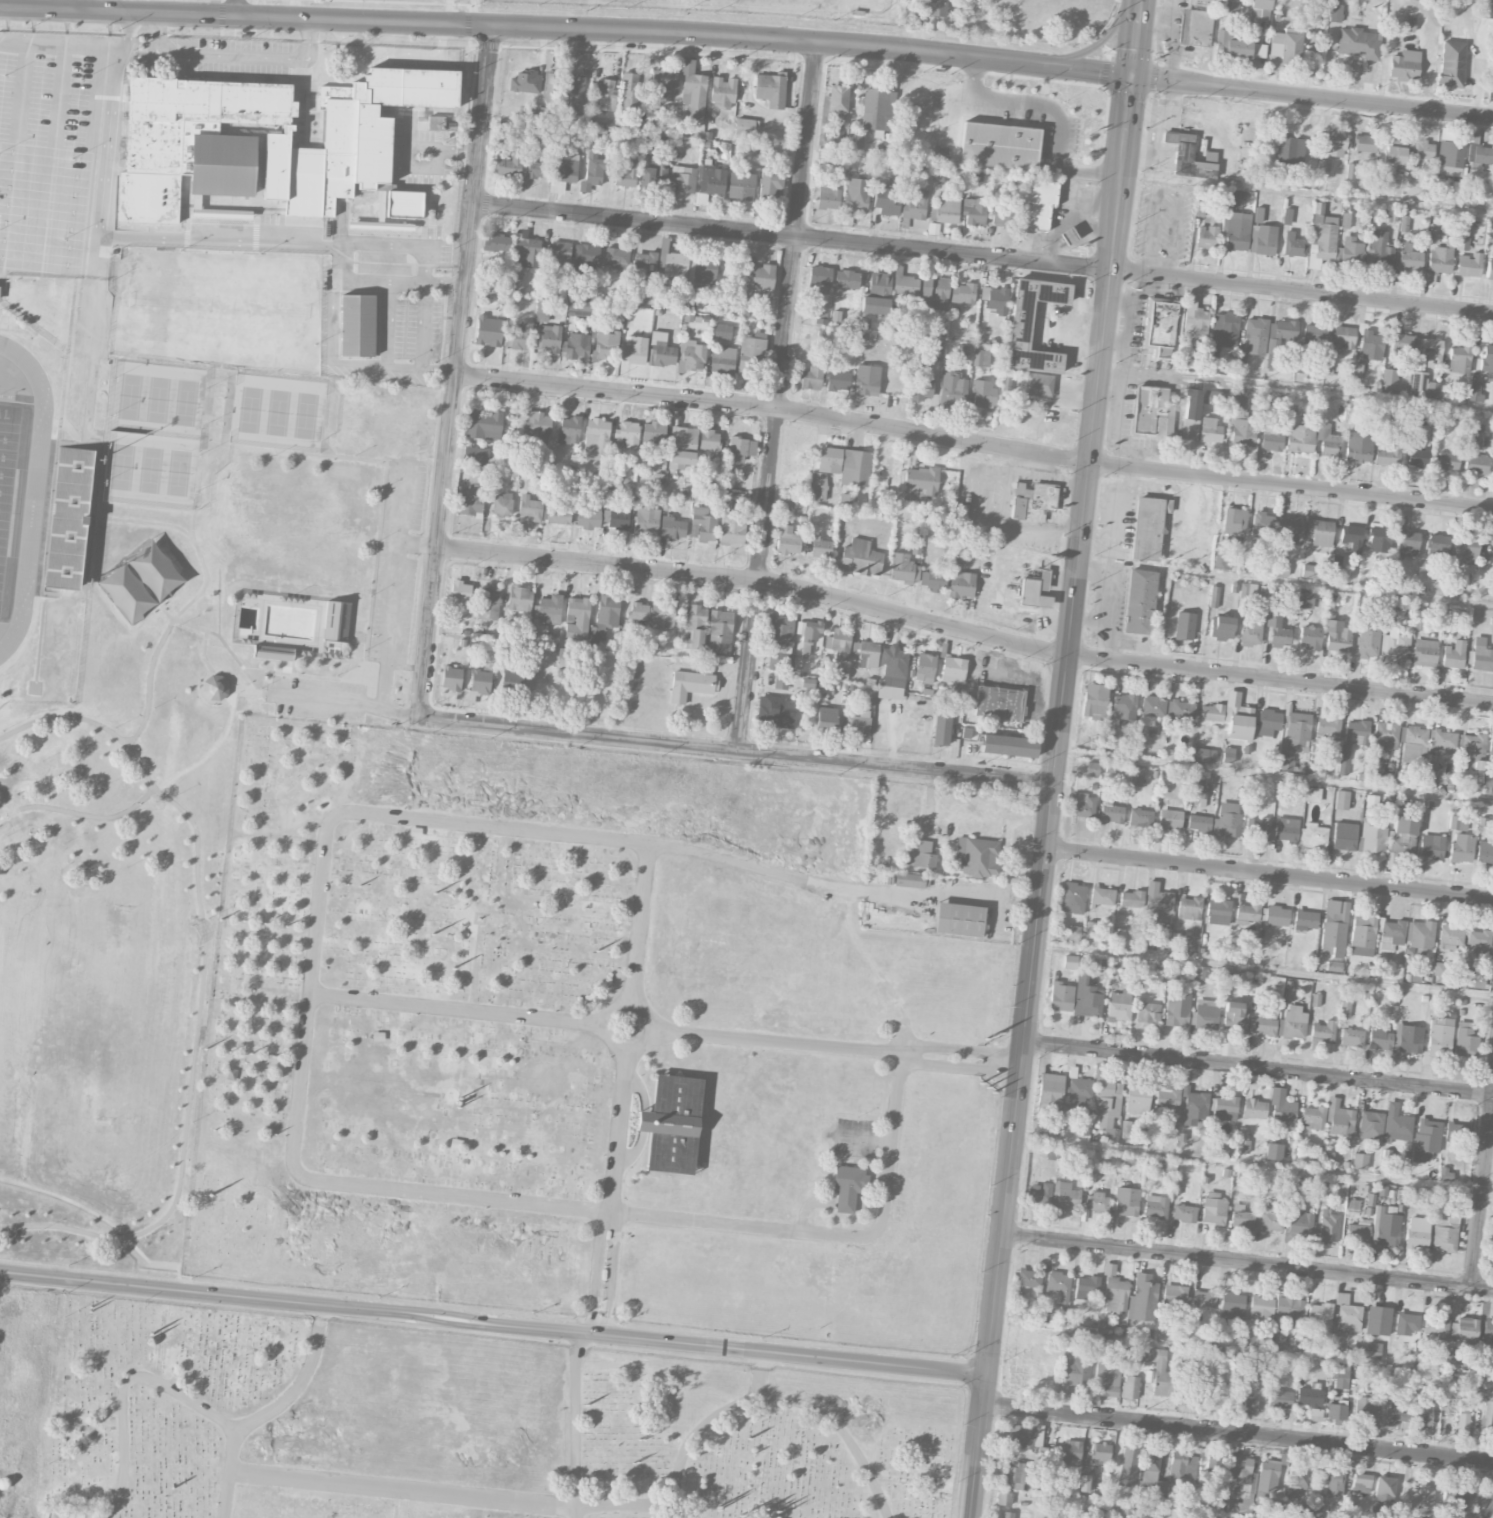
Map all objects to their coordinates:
building: (1201, 2)
road: (71, 5)
building: (1231, 6)
road: (236, 8)
building: (934, 8)
building: (1260, 10)
building: (1335, 12)
building: (1408, 24)
road: (567, 29)
building: (1191, 35)
building: (1357, 42)
road: (58, 45)
building: (1237, 45)
building: (1286, 45)
road: (232, 55)
building: (1452, 63)
building: (1404, 65)
traffic signals: (1134, 77)
building: (524, 82)
building: (663, 84)
building: (550, 87)
building: (692, 89)
building: (771, 89)
building: (575, 91)
building: (629, 91)
building: (722, 92)
building: (603, 94)
road: (1313, 97)
road: (1056, 106)
building: (877, 109)
building: (834, 115)
building: (746, 127)
building: (273, 134)
building: (1365, 143)
building: (1335, 144)
building: (998, 146)
building: (1421, 149)
building: (1289, 150)
building: (1479, 155)
building: (1189, 157)
building: (1390, 157)
building: (1450, 158)
building: (221, 163)
building: (508, 163)
building: (1323, 166)
building: (566, 167)
building: (537, 170)
building: (592, 172)
building: (653, 173)
building: (626, 175)
building: (683, 178)
building: (712, 179)
building: (770, 183)
road: (101, 184)
building: (741, 185)
building: (856, 195)
building: (828, 196)
building: (887, 200)
building: (1231, 201)
building: (1036, 203)
building: (404, 204)
building: (914, 205)
building: (945, 210)
building: (974, 211)
building: (1001, 215)
building: (933, 228)
building: (1235, 230)
building: (1435, 231)
building: (1462, 234)
building: (1321, 235)
building: (1206, 236)
building: (1262, 239)
road: (263, 240)
building: (496, 243)
building: (1293, 245)
building: (1351, 250)
building: (1378, 250)
building: (527, 251)
building: (559, 251)
road: (983, 254)
building: (586, 257)
building: (616, 257)
building: (1410, 257)
building: (1440, 258)
building: (645, 262)
building: (673, 264)
building: (1469, 265)
building: (704, 270)
building: (1489, 270)
building: (819, 275)
building: (1428, 278)
building: (846, 279)
road: (362, 281)
building: (760, 281)
road: (408, 282)
road: (446, 284)
building: (904, 286)
building: (934, 292)
building: (962, 293)
building: (877, 294)
building: (994, 298)
road: (334, 301)
road: (426, 307)
building: (580, 308)
building: (542, 309)
road: (386, 323)
building: (1194, 323)
building: (357, 324)
building: (1020, 327)
building: (1160, 327)
building: (1285, 330)
building: (488, 331)
building: (721, 331)
building: (1222, 333)
building: (520, 335)
building: (1255, 335)
building: (1313, 335)
building: (1343, 337)
building: (550, 338)
building: (606, 344)
building: (1401, 344)
building: (577, 345)
building: (1371, 345)
building: (635, 350)
building: (661, 350)
building: (934, 350)
building: (750, 351)
building: (1431, 351)
building: (694, 357)
building: (980, 357)
building: (1460, 358)
building: (1487, 359)
building: (723, 360)
road: (376, 364)
road: (455, 372)
building: (811, 376)
building: (1388, 378)
building: (867, 379)
building: (838, 381)
building: (1418, 381)
building: (921, 383)
building: (1038, 384)
building: (953, 387)
building: (1475, 391)
building: (983, 393)
park: (130, 395)
road: (778, 396)
park: (158, 398)
building: (1217, 398)
park: (186, 401)
building: (1238, 402)
park: (250, 408)
park: (278, 411)
building: (1153, 411)
park: (306, 414)
building: (1191, 414)
building: (484, 424)
building: (537, 426)
building: (569, 430)
building: (1209, 430)
building: (1243, 432)
building: (1298, 432)
building: (653, 434)
building: (626, 435)
building: (596, 439)
building: (1272, 440)
building: (1328, 441)
building: (710, 442)
road: (973, 443)
building: (1358, 446)
building: (682, 447)
road: (264, 448)
building: (741, 448)
building: (1388, 452)
building: (475, 454)
building: (1417, 456)
building: (829, 460)
building: (1447, 461)
building: (1475, 464)
park: (122, 466)
building: (855, 467)
park: (151, 468)
park: (178, 472)
stadium: (48, 475)
building: (920, 482)
building: (818, 486)
park: (12, 492)
building: (471, 499)
building: (847, 500)
road: (1101, 500)
building: (1033, 501)
building: (502, 504)
building: (530, 507)
track: (33, 510)
building: (557, 511)
road: (1113, 514)
building: (587, 515)
building: (68, 517)
building: (618, 518)
building: (646, 519)
building: (1234, 521)
building: (704, 523)
building: (1261, 525)
building: (671, 527)
building: (1148, 527)
building: (731, 528)
building: (1289, 530)
building: (1319, 532)
road: (192, 537)
building: (1351, 537)
building: (788, 540)
building: (1379, 540)
building: (1407, 543)
road: (418, 545)
building: (1437, 545)
building: (821, 547)
building: (1464, 548)
building: (859, 558)
park: (154, 568)
building: (903, 568)
building: (1309, 571)
building: (933, 579)
road: (395, 584)
building: (961, 584)
building: (1035, 590)
building: (1247, 590)
park: (126, 592)
building: (460, 593)
building: (1214, 596)
building: (519, 598)
building: (1305, 599)
building: (1139, 601)
building: (489, 603)
building: (638, 611)
building: (546, 612)
building: (662, 615)
building: (577, 617)
building: (604, 617)
building: (337, 620)
building: (695, 625)
building: (1184, 626)
building: (1221, 627)
building: (1277, 628)
building: (780, 630)
building: (719, 631)
road: (963, 631)
building: (1250, 631)
building: (809, 634)
building: (1336, 635)
building: (1309, 637)
building: (1368, 641)
road: (225, 643)
building: (838, 643)
building: (1394, 645)
building: (273, 651)
building: (1424, 652)
building: (866, 654)
building: (1453, 654)
building: (1481, 655)
building: (778, 660)
building: (893, 665)
building: (924, 668)
building: (953, 669)
building: (451, 678)
building: (509, 679)
building: (781, 680)
building: (480, 681)
road: (151, 682)
building: (690, 685)
building: (214, 687)
road: (252, 691)
road: (344, 699)
building: (1094, 701)
building: (998, 702)
building: (1123, 706)
building: (1152, 709)
building: (1180, 709)
building: (774, 712)
building: (1211, 712)
building: (826, 717)
road: (230, 718)
building: (1237, 718)
building: (1268, 722)
building: (856, 724)
building: (1328, 728)
building: (941, 729)
building: (1298, 732)
building: (1356, 732)
building: (1385, 736)
building: (1441, 742)
building: (1412, 743)
building: (1008, 745)
road: (736, 750)
building: (1490, 750)
building: (1472, 751)
building: (1227, 754)
building: (1203, 755)
road: (1057, 759)
park: (180, 760)
building: (1285, 762)
building: (1092, 768)
building: (1134, 773)
building: (1488, 785)
building: (1312, 794)
building: (1341, 800)
building: (1083, 805)
building: (1110, 811)
road: (80, 813)
building: (1170, 819)
building: (1140, 820)
building: (1227, 820)
building: (1458, 822)
building: (1198, 823)
building: (1257, 828)
building: (1286, 829)
building: (1403, 833)
building: (1313, 835)
building: (1344, 836)
building: (1371, 837)
building: (1432, 846)
building: (1462, 848)
building: (1485, 852)
building: (921, 855)
building: (976, 857)
road: (768, 869)
road: (1270, 874)
building: (909, 880)
building: (1102, 895)
building: (1072, 897)
building: (1131, 898)
building: (1157, 900)
building: (1189, 908)
building: (1218, 912)
building: (1247, 913)
building: (1276, 915)
building: (958, 919)
building: (1304, 920)
building: (1090, 928)
building: (1334, 928)
building: (1072, 933)
building: (1391, 934)
building: (1420, 934)
building: (1362, 935)
building: (1450, 937)
building: (1479, 940)
building: (1070, 961)
building: (1472, 978)
road: (201, 985)
building: (1061, 997)
building: (1086, 997)
road: (626, 1001)
building: (1118, 1005)
building: (1177, 1008)
building: (1344, 1008)
building: (1148, 1012)
park: (111, 1013)
building: (1206, 1014)
building: (1235, 1016)
building: (1292, 1022)
building: (1323, 1031)
building: (1351, 1037)
building: (1379, 1038)
building: (1407, 1038)
building: (1438, 1039)
road: (777, 1041)
building: (1465, 1041)
park: (18, 1044)
park: (586, 1045)
road: (962, 1049)
road: (961, 1068)
road: (1259, 1068)
building: (1051, 1082)
building: (1078, 1092)
building: (1137, 1099)
building: (1167, 1100)
building: (1107, 1102)
building: (1281, 1105)
building: (1194, 1107)
building: (1225, 1108)
building: (1254, 1108)
building: (1313, 1118)
building: (1339, 1118)
building: (671, 1124)
building: (1396, 1124)
building: (1370, 1125)
road: (619, 1127)
building: (1040, 1127)
building: (1456, 1132)
building: (1426, 1139)
building: (1242, 1140)
building: (1274, 1151)
building: (1359, 1161)
building: (1297, 1183)
building: (847, 1186)
building: (1039, 1193)
building: (1064, 1195)
road: (1482, 1195)
building: (1126, 1201)
building: (1097, 1202)
building: (1155, 1206)
building: (1214, 1208)
building: (1184, 1213)
building: (1268, 1216)
building: (1241, 1217)
building: (1298, 1223)
building: (1328, 1227)
building: (1385, 1228)
building: (1418, 1232)
building: (1358, 1233)
building: (1445, 1234)
road: (1248, 1262)
road: (596, 1267)
road: (612, 1269)
building: (1028, 1278)
building: (1058, 1286)
building: (1086, 1286)
building: (1115, 1294)
building: (1142, 1298)
building: (1174, 1298)
building: (1203, 1300)
building: (1231, 1307)
building: (1261, 1308)
building: (1287, 1309)
building: (1320, 1312)
building: (1347, 1314)
building: (1377, 1320)
road: (494, 1321)
building: (1406, 1323)
building: (1437, 1325)
building: (1466, 1328)
building: (1487, 1330)
building: (1252, 1338)
building: (1278, 1341)
building: (1372, 1350)
building: (1159, 1371)
building: (1074, 1373)
building: (1105, 1377)
building: (1341, 1378)
building: (1130, 1387)
building: (1197, 1388)
building: (1310, 1395)
building: (1279, 1399)
building: (1249, 1405)
building: (1362, 1410)
building: (1422, 1411)
building: (1336, 1413)
building: (1486, 1413)
building: (1396, 1414)
building: (1462, 1420)
park: (460, 1426)
building: (1024, 1434)
road: (1238, 1434)
building: (1100, 1451)
building: (1071, 1452)
building: (1152, 1459)
building: (1215, 1459)
building: (1130, 1465)
building: (1183, 1468)
building: (1241, 1475)
building: (1268, 1476)
building: (1298, 1476)
building: (1083, 1482)
building: (1155, 1483)
building: (1331, 1483)
building: (1361, 1483)
building: (1293, 1492)
building: (1382, 1497)
building: (1421, 1497)
building: (1004, 1498)
building: (1453, 1498)
road: (1489, 1512)
building: (1008, 1514)

